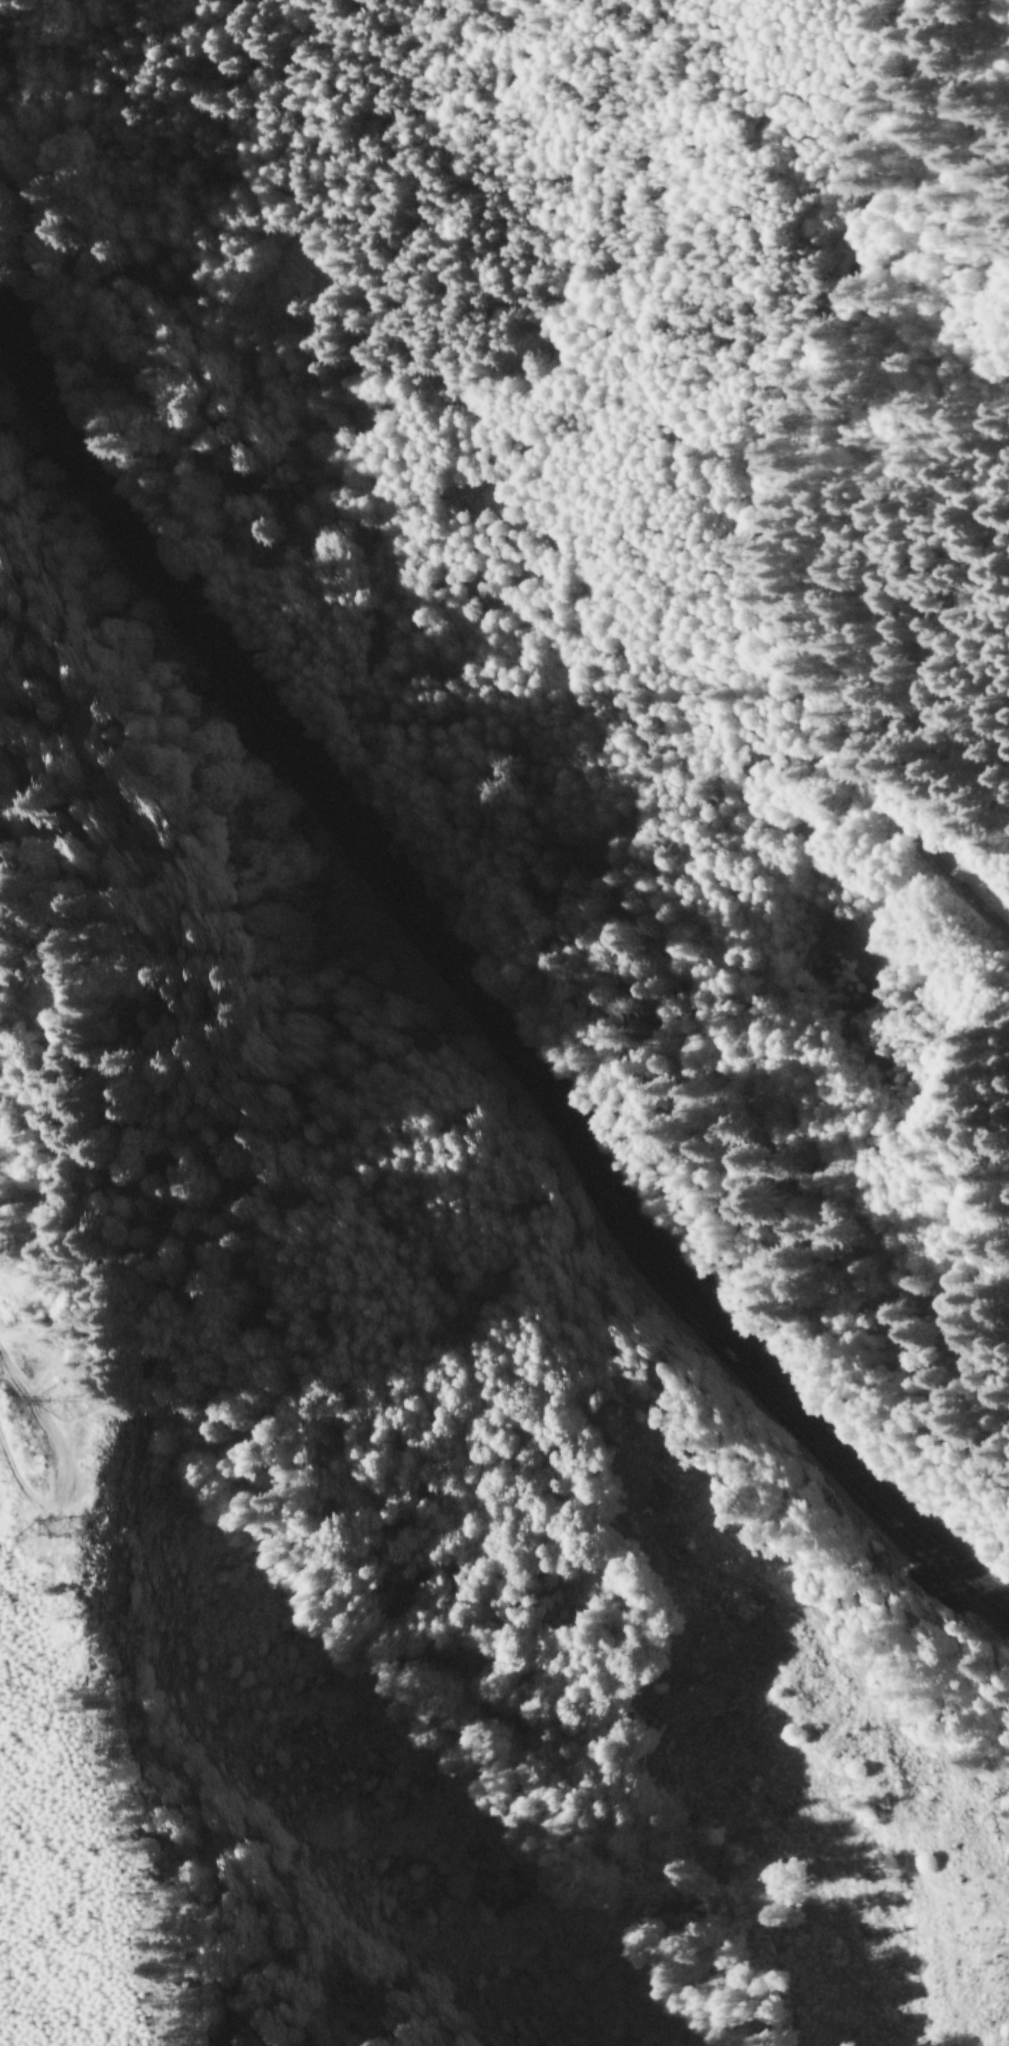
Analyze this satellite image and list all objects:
road: (466, 1005)
power tower: (85, 1429)
power tower: (57, 1528)

